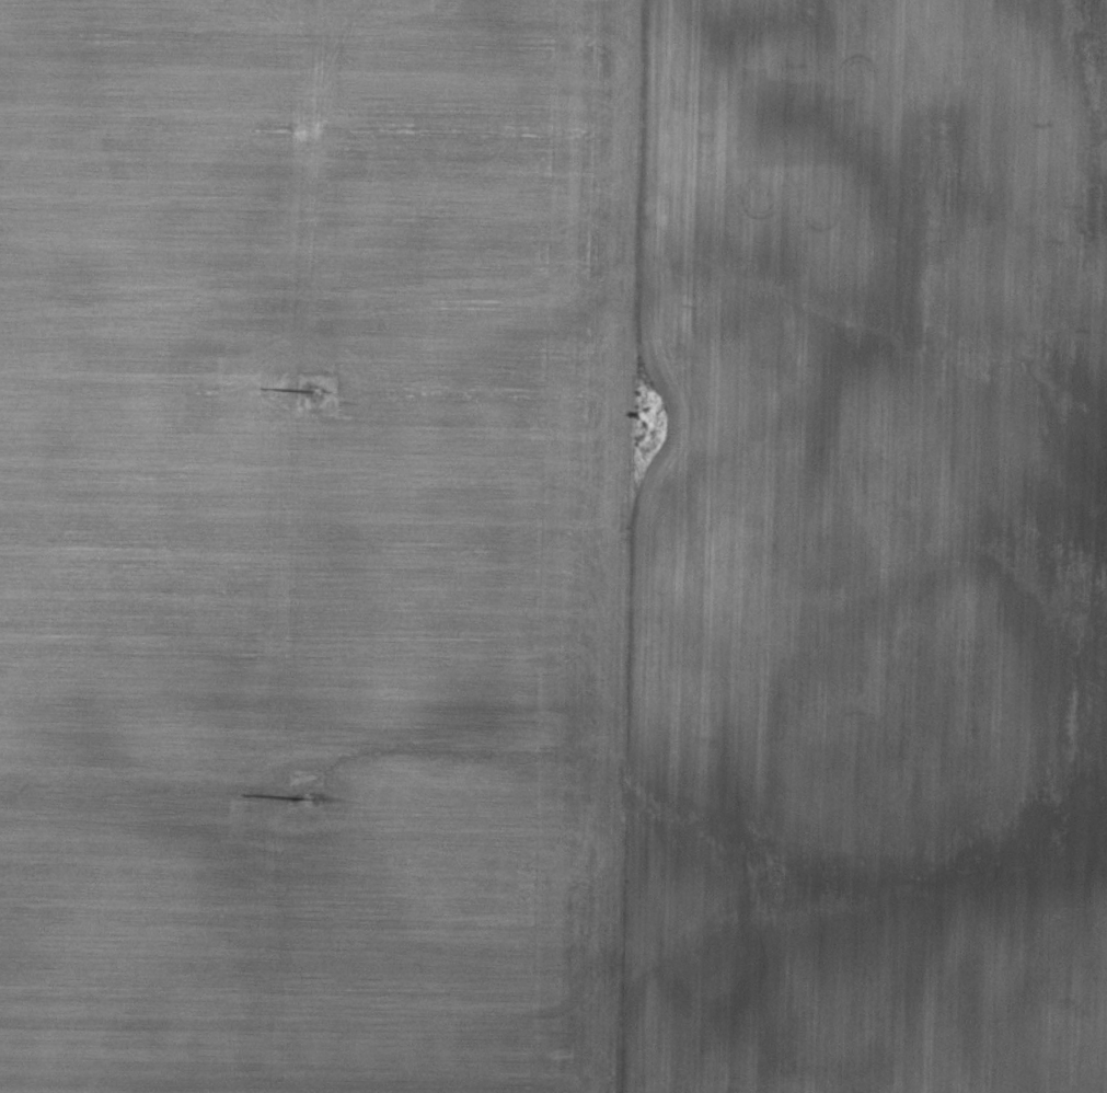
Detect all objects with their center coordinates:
power tower: (309, 388)
power tower: (297, 793)

